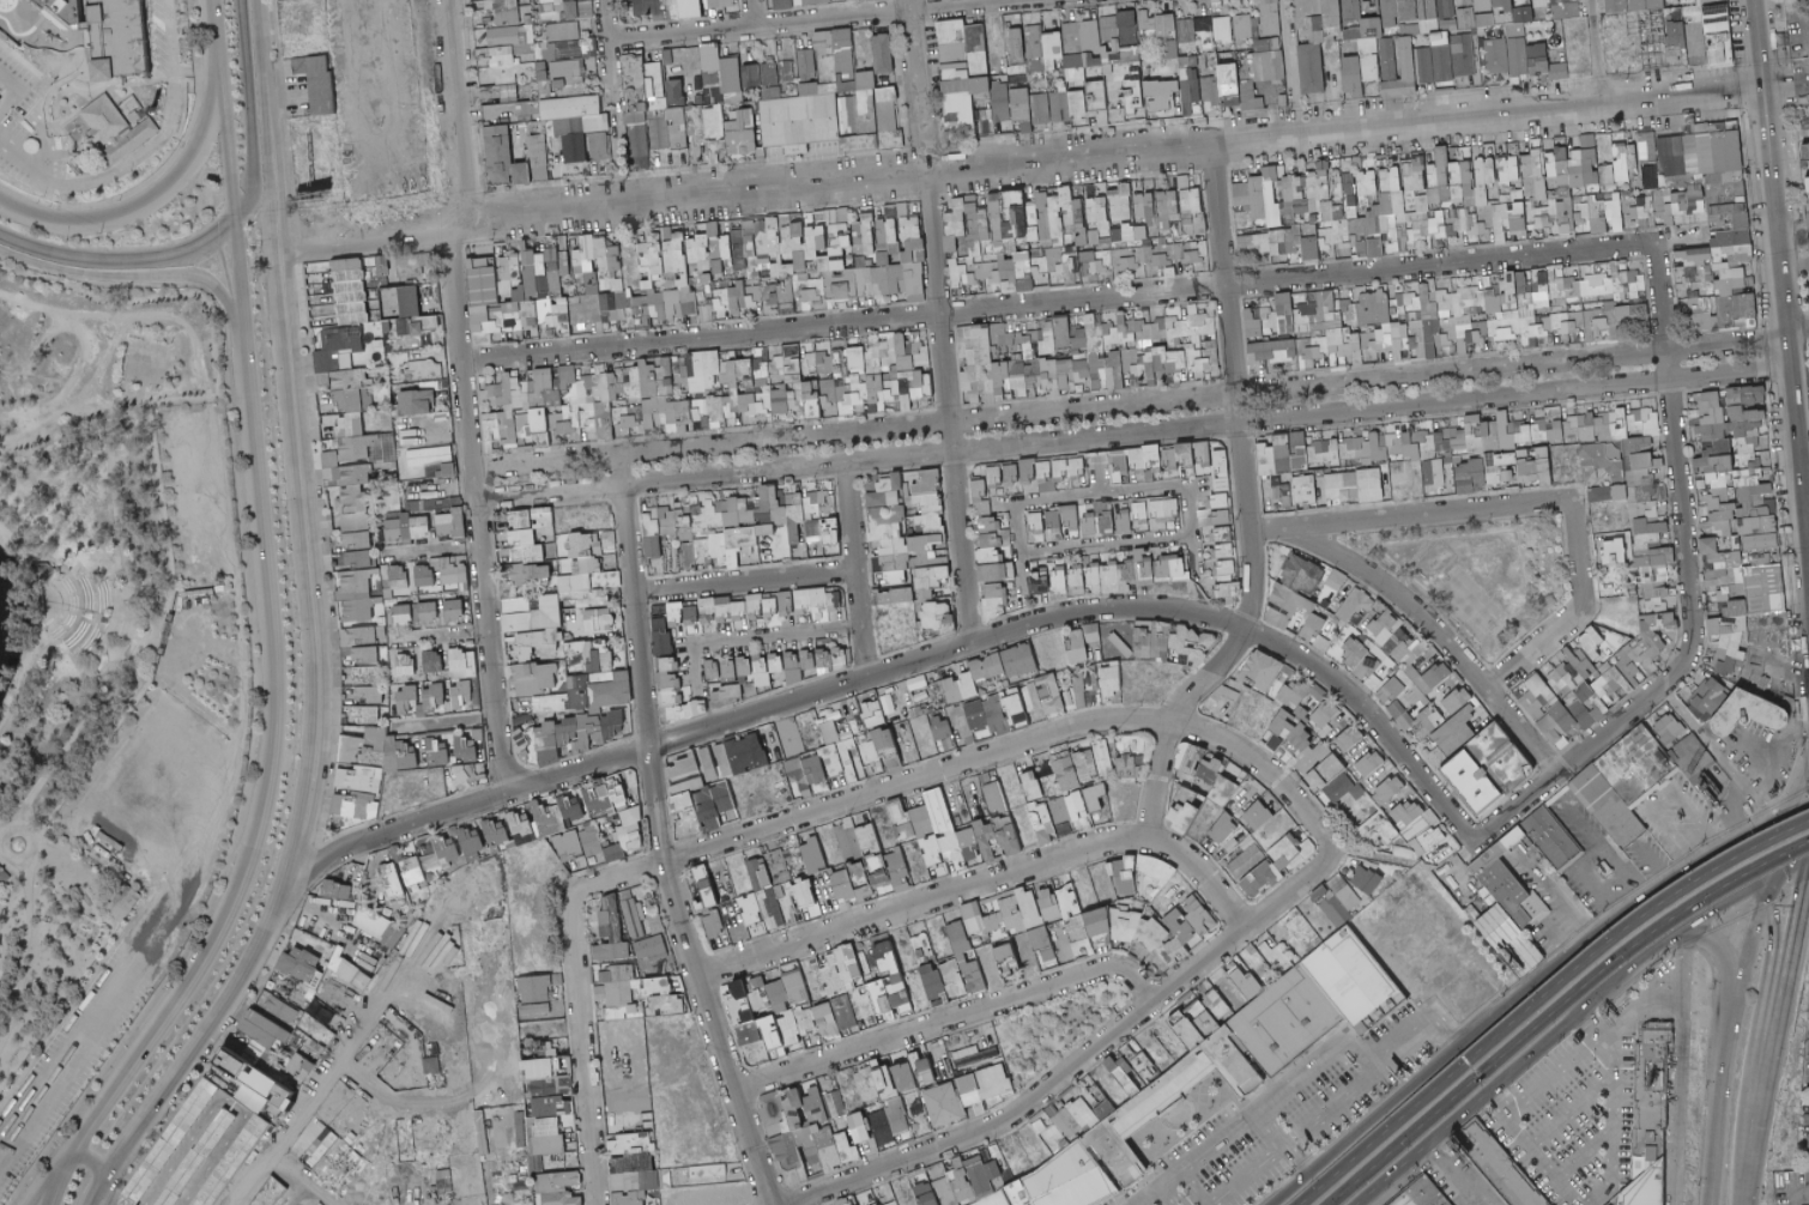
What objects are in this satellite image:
parking lot: (162, 36)
parking lot: (14, 75)
park: (146, 357)
parking lot: (199, 491)
park: (1470, 570)
park: (1459, 601)
park: (108, 667)
parking lot: (1762, 755)
parking lot: (158, 925)
park: (1054, 1025)

